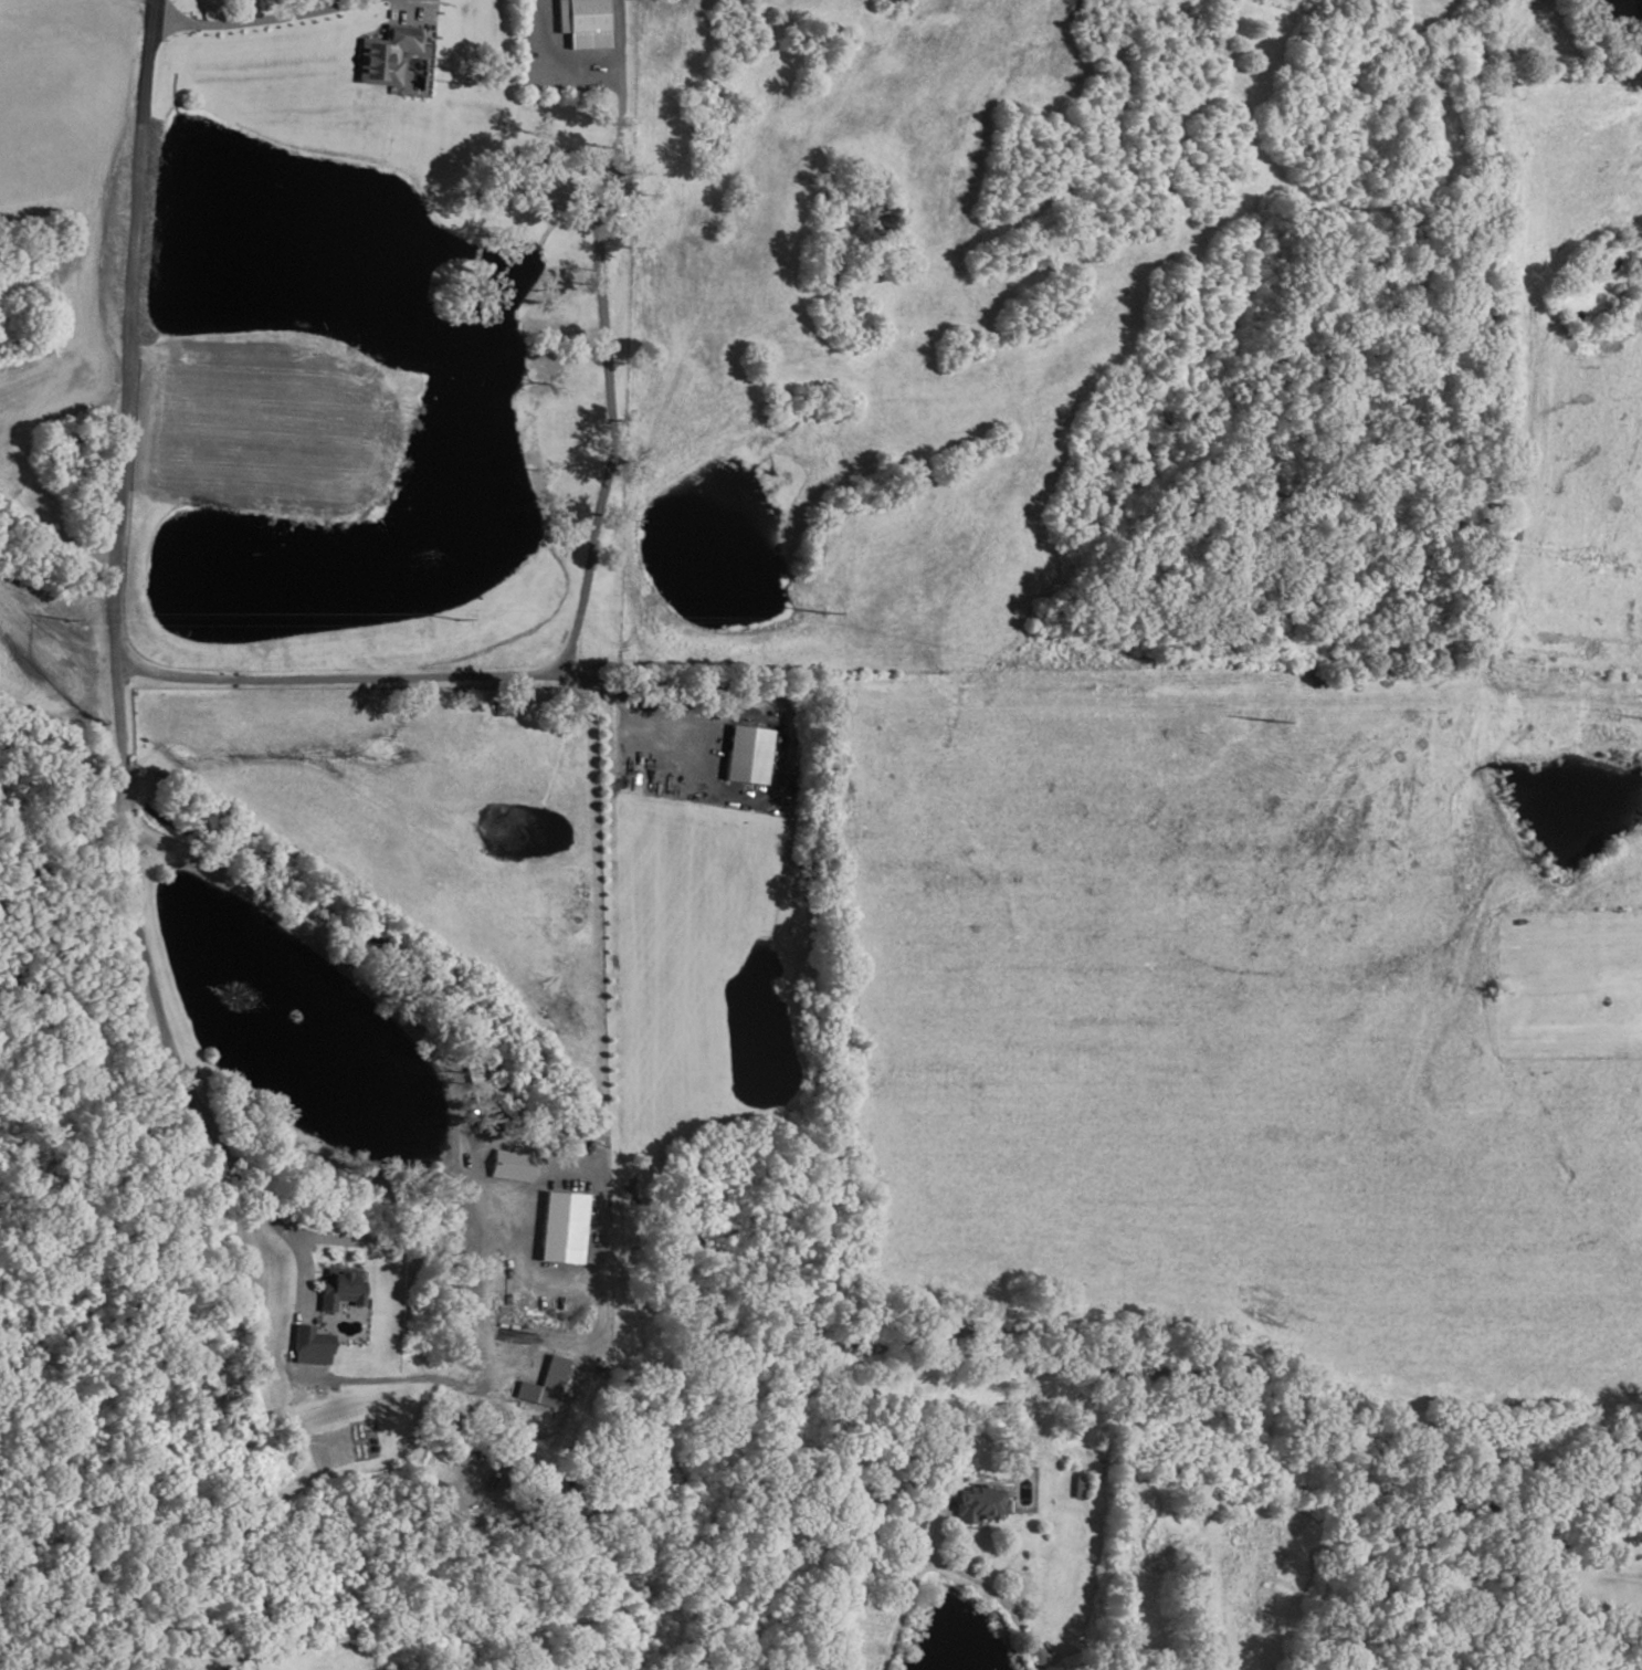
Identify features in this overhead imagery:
road: (256, 22)
building: (582, 22)
road: (359, 34)
building: (385, 55)
road: (579, 70)
building: (478, 74)
road: (454, 83)
road: (581, 589)
road: (114, 674)
building: (745, 755)
road: (734, 797)
road: (327, 946)
building: (511, 1165)
road: (603, 1165)
building: (561, 1226)
building: (339, 1288)
building: (309, 1345)
building: (544, 1384)
building: (977, 1504)
building: (911, 1521)
road: (906, 1586)
building: (228, 1669)

